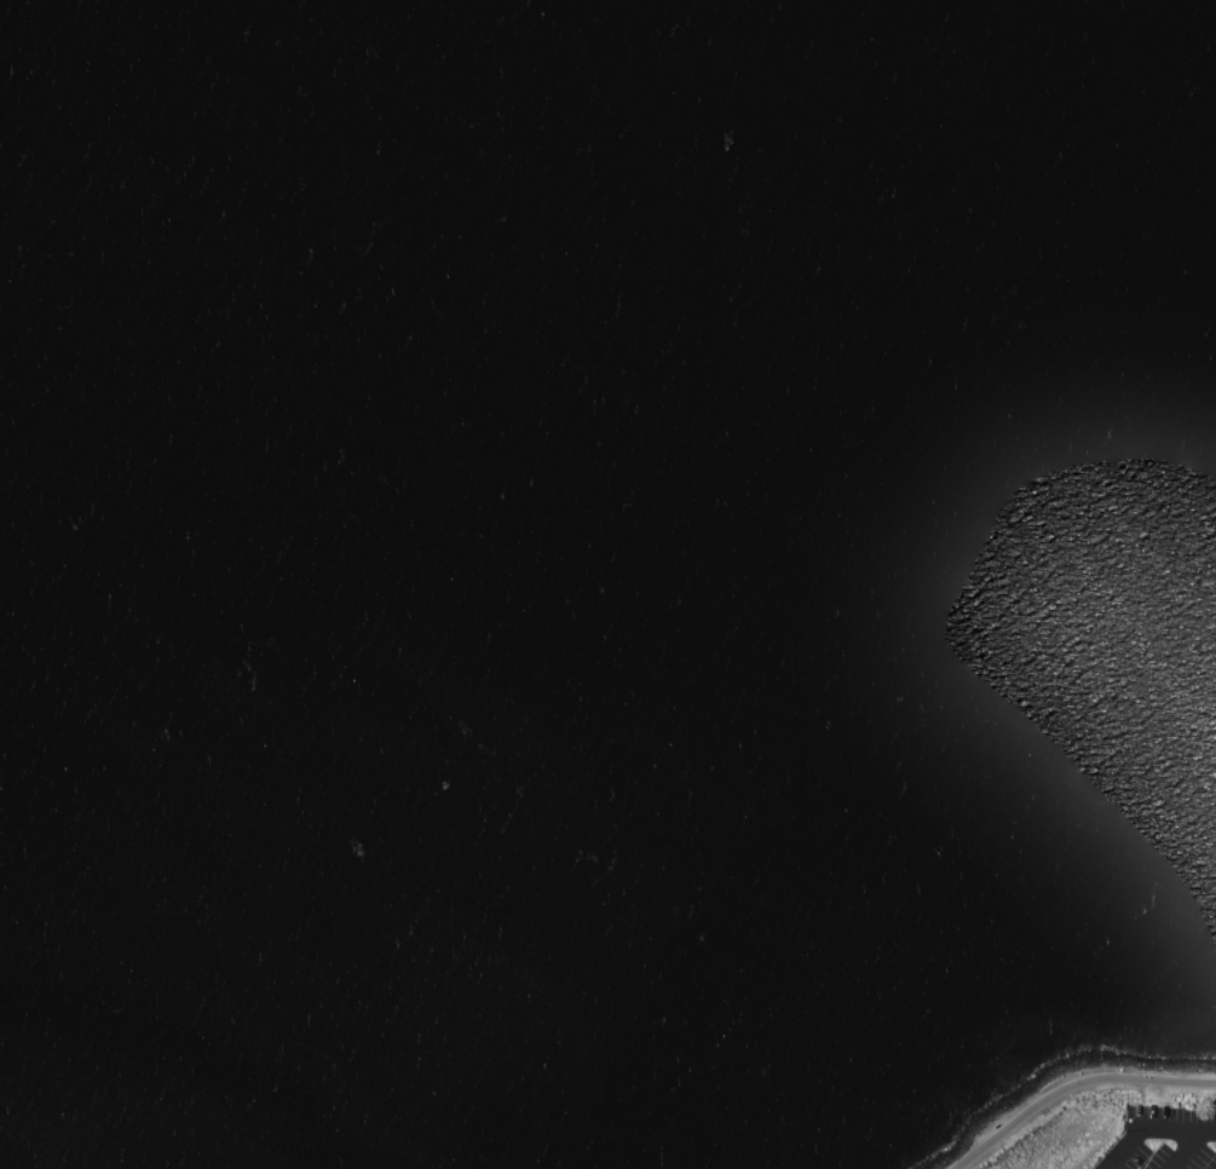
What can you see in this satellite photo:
road: (1180, 1128)
parking lot: (1159, 1141)
road: (1125, 1147)
road: (1182, 1150)

